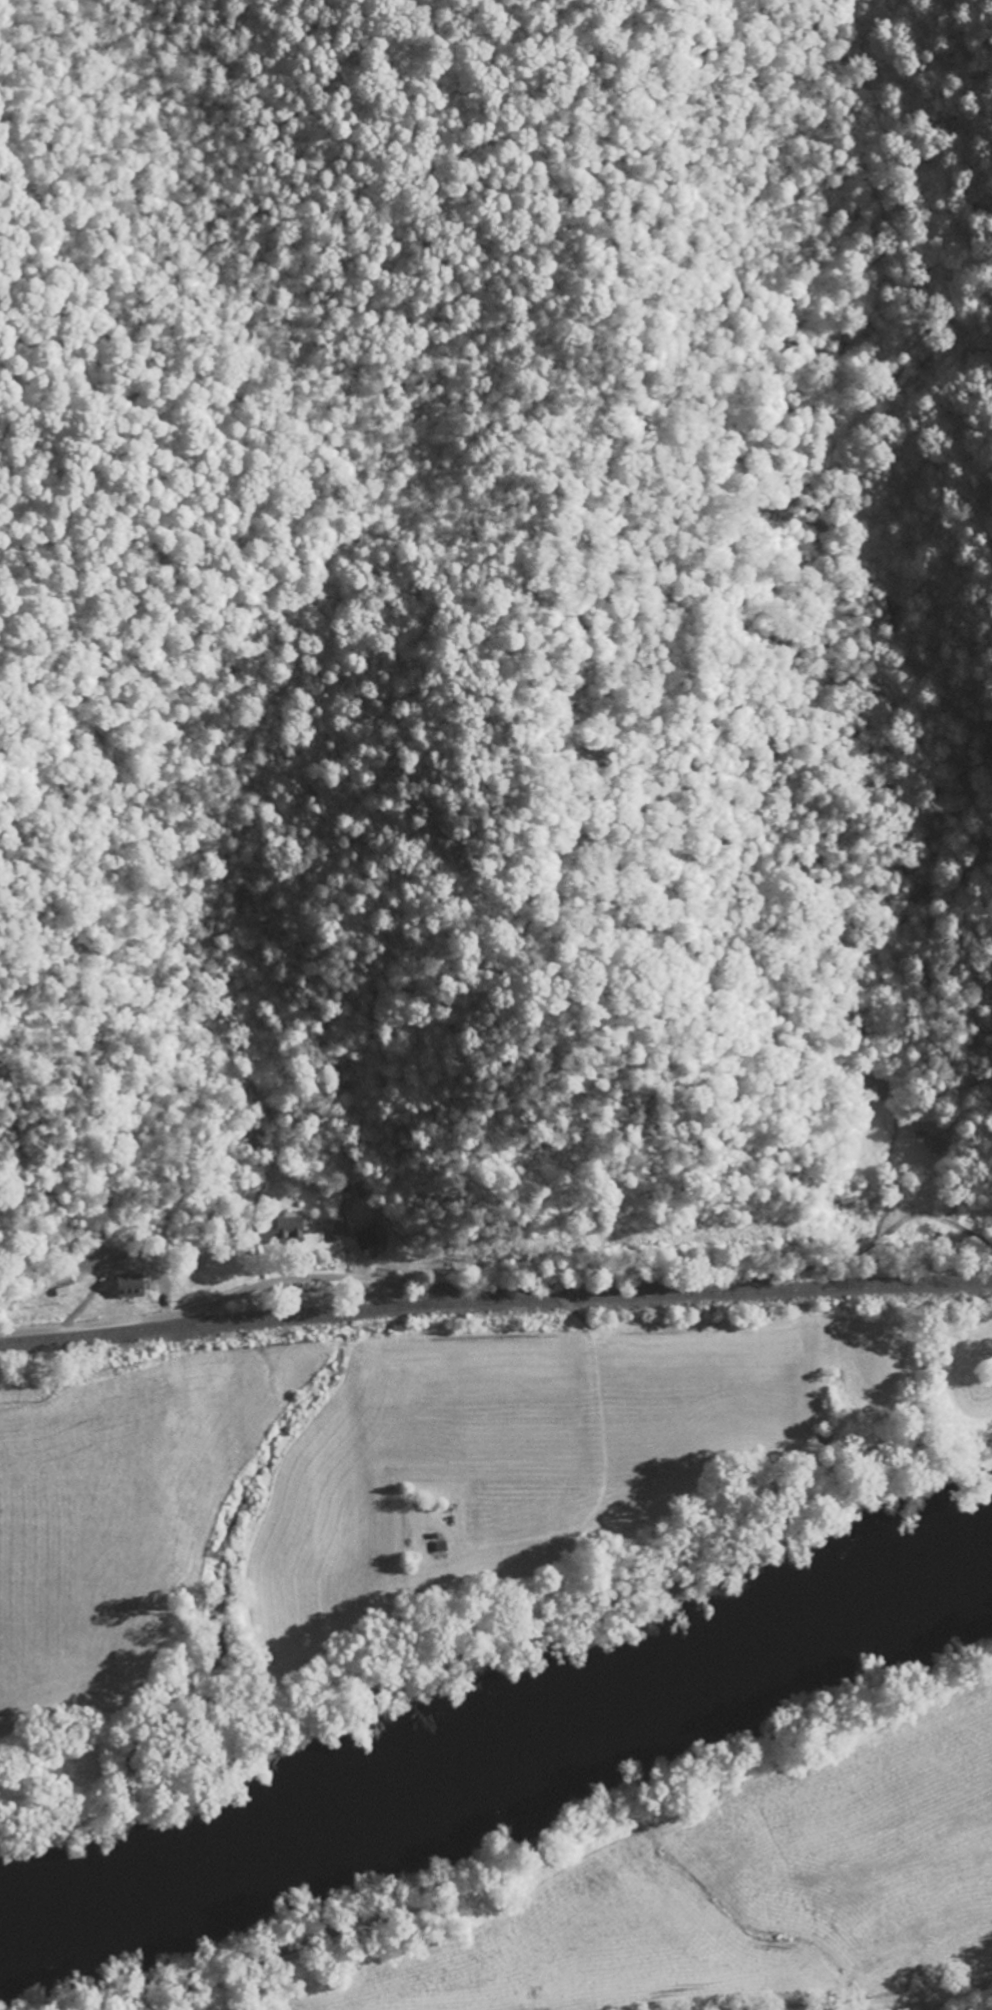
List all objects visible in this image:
building: (287, 1229)
building: (365, 1237)
building: (127, 1285)
road: (206, 1305)
railway: (495, 1318)
river: (502, 1750)
road: (921, 1994)

